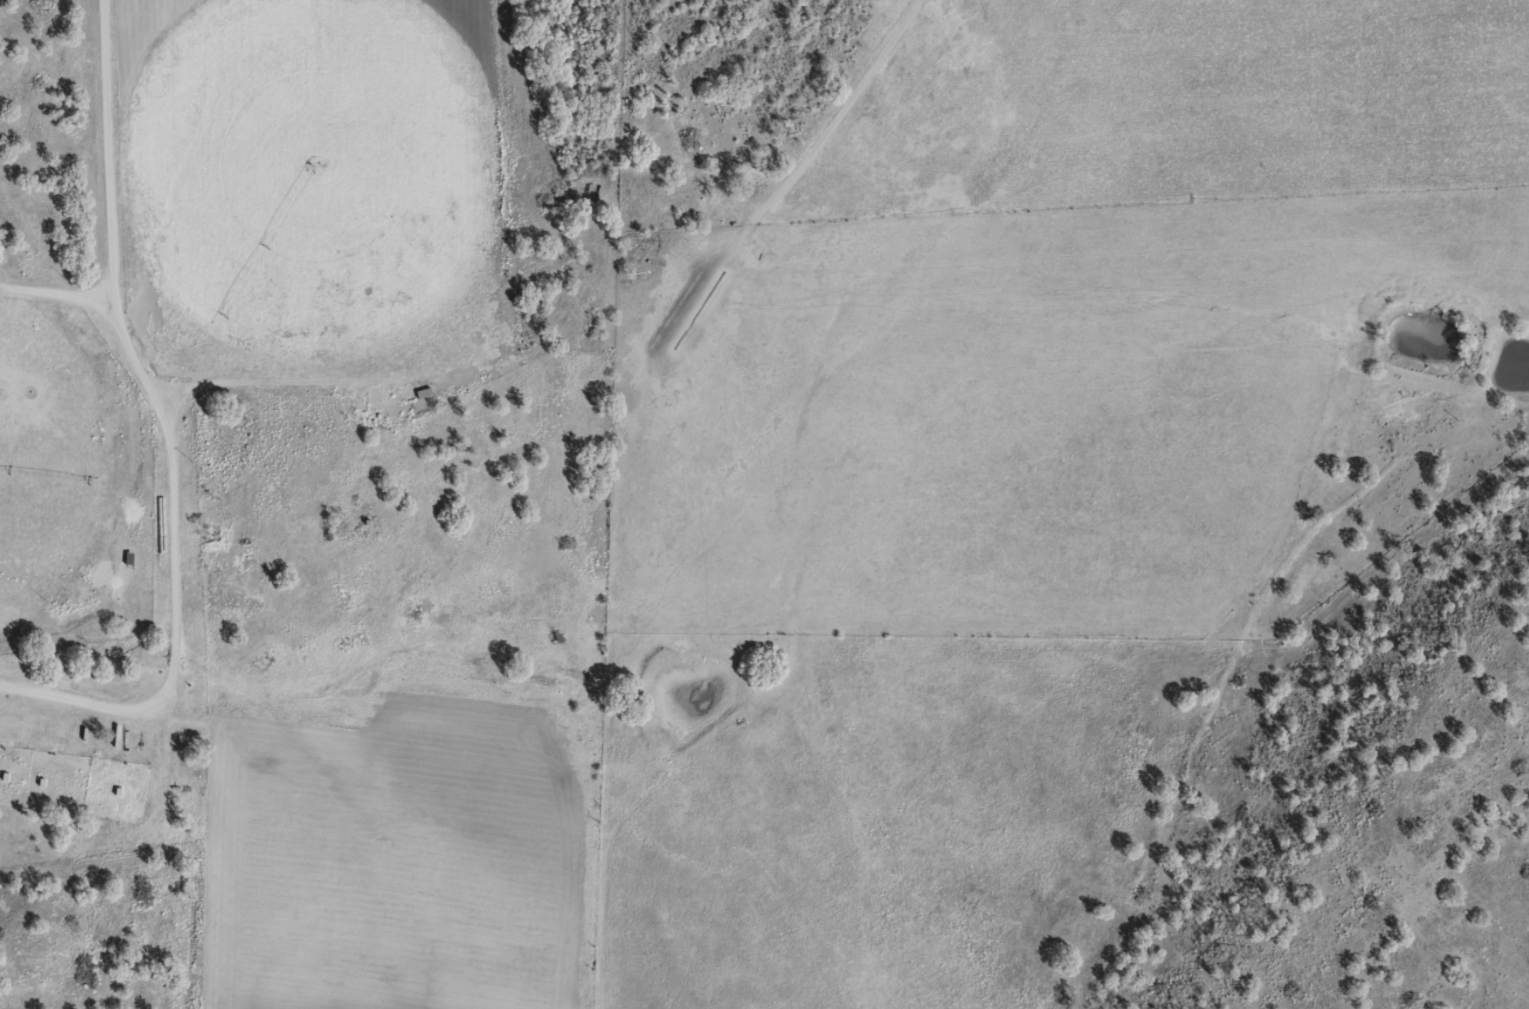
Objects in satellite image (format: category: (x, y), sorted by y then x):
road: (115, 261)

